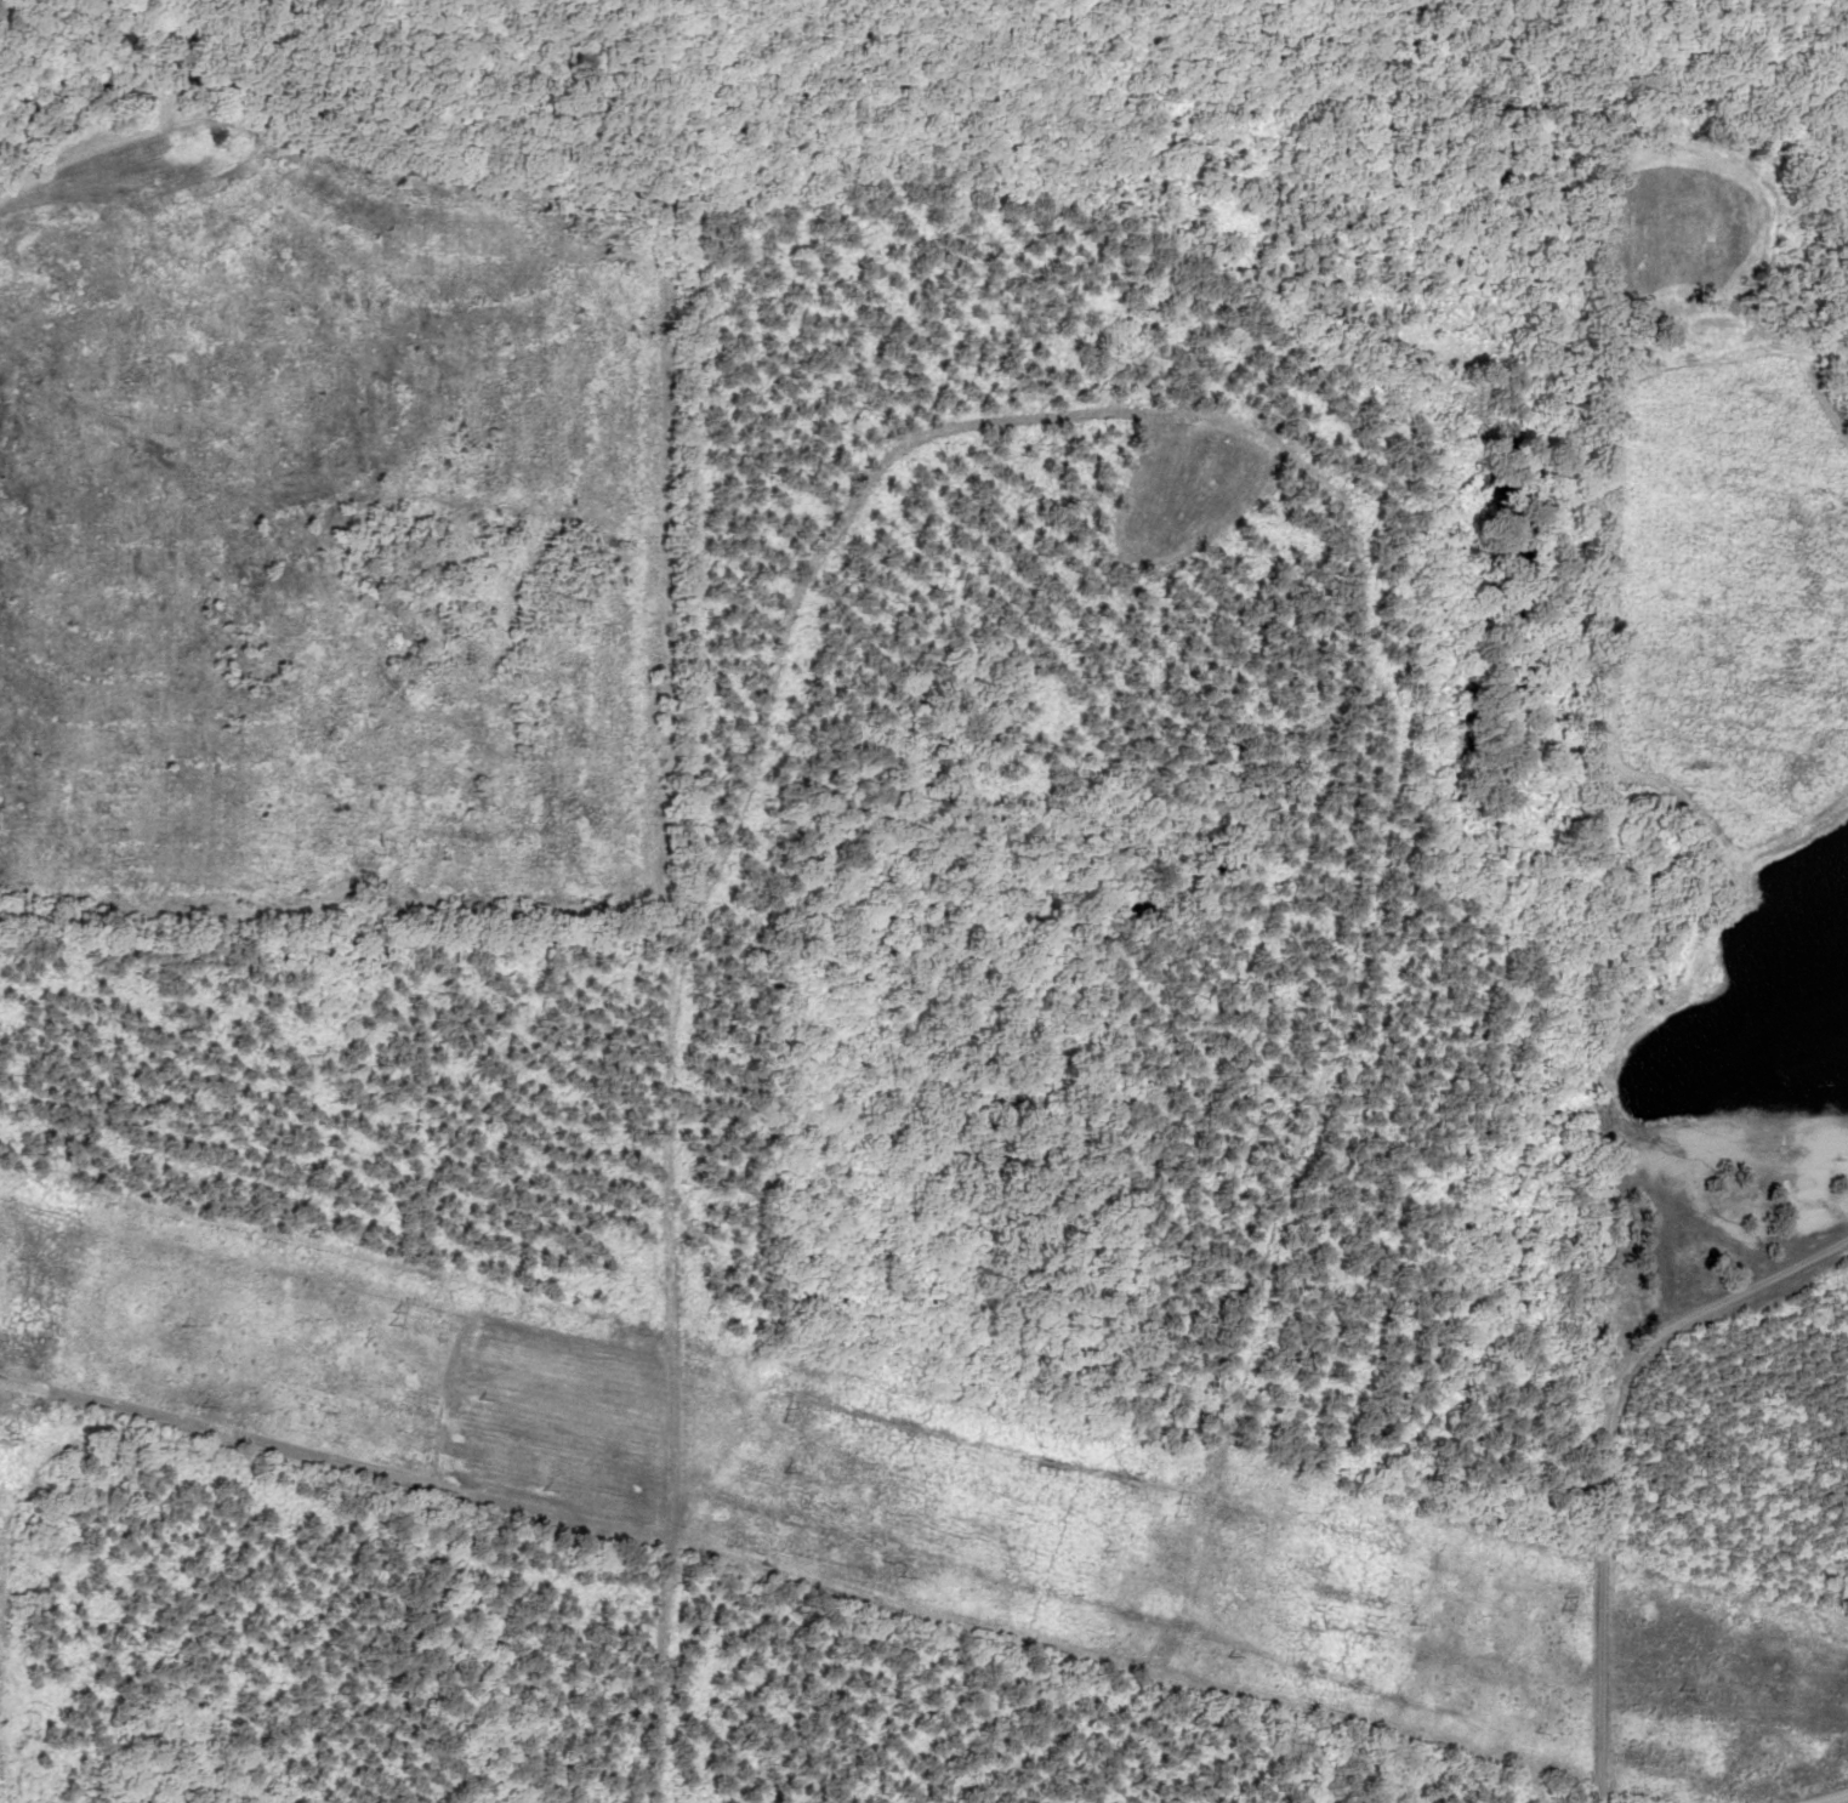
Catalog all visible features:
power tower: (669, 1479)

